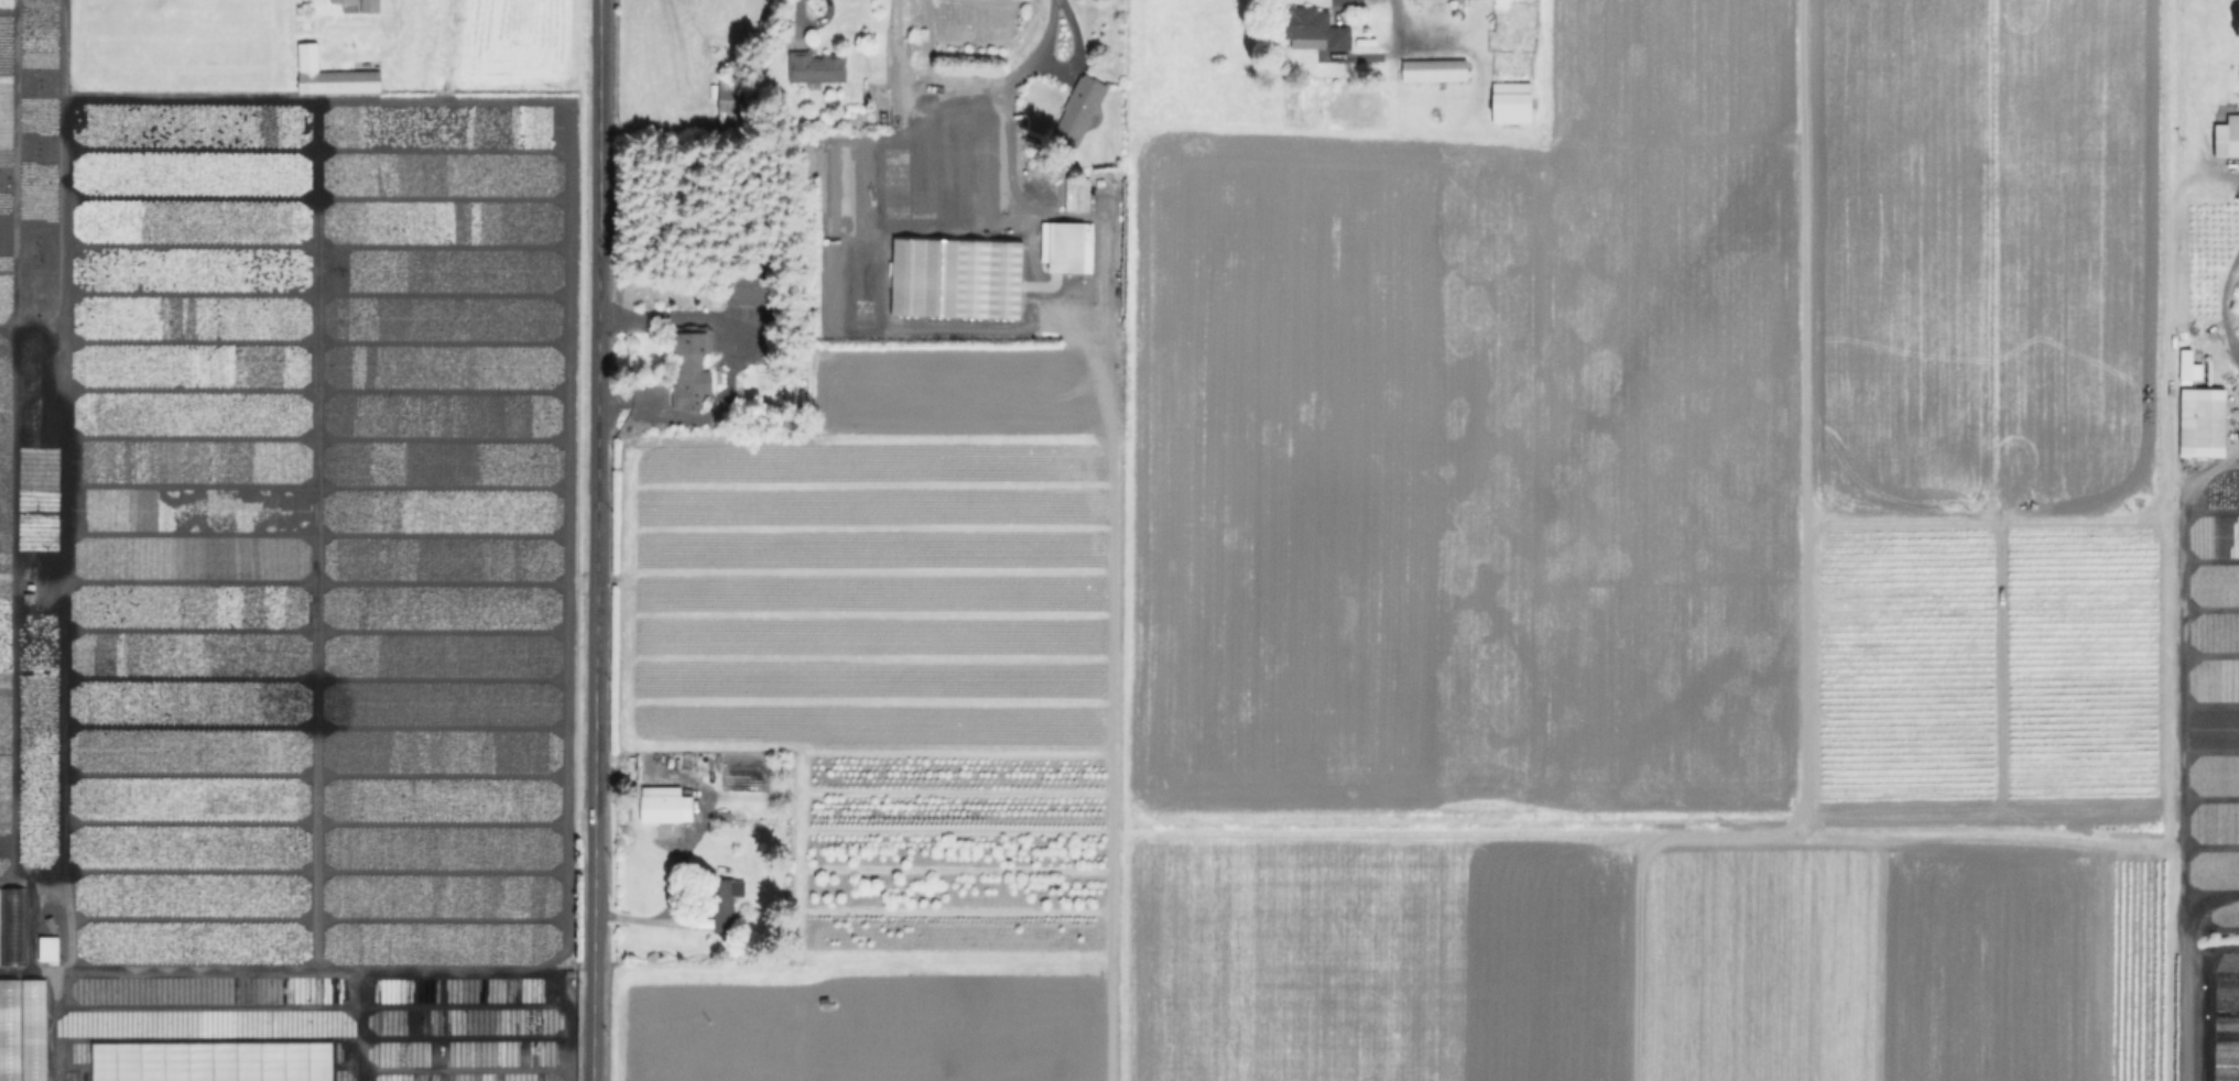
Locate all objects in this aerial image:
building: (349, 6)
building: (373, 7)
road: (804, 29)
building: (1313, 29)
road: (1046, 35)
building: (1350, 59)
building: (817, 68)
building: (1437, 70)
building: (334, 78)
building: (730, 102)
building: (1513, 103)
building: (1078, 114)
building: (2228, 139)
building: (1073, 247)
building: (750, 287)
road: (2220, 304)
road: (733, 334)
building: (692, 365)
building: (2192, 365)
road: (630, 400)
building: (2199, 422)
road: (598, 540)
crop: (1396, 542)
road: (2182, 752)
building: (667, 807)
building: (726, 902)
building: (11, 926)
building: (46, 948)
building: (33, 1026)
building: (8, 1029)

